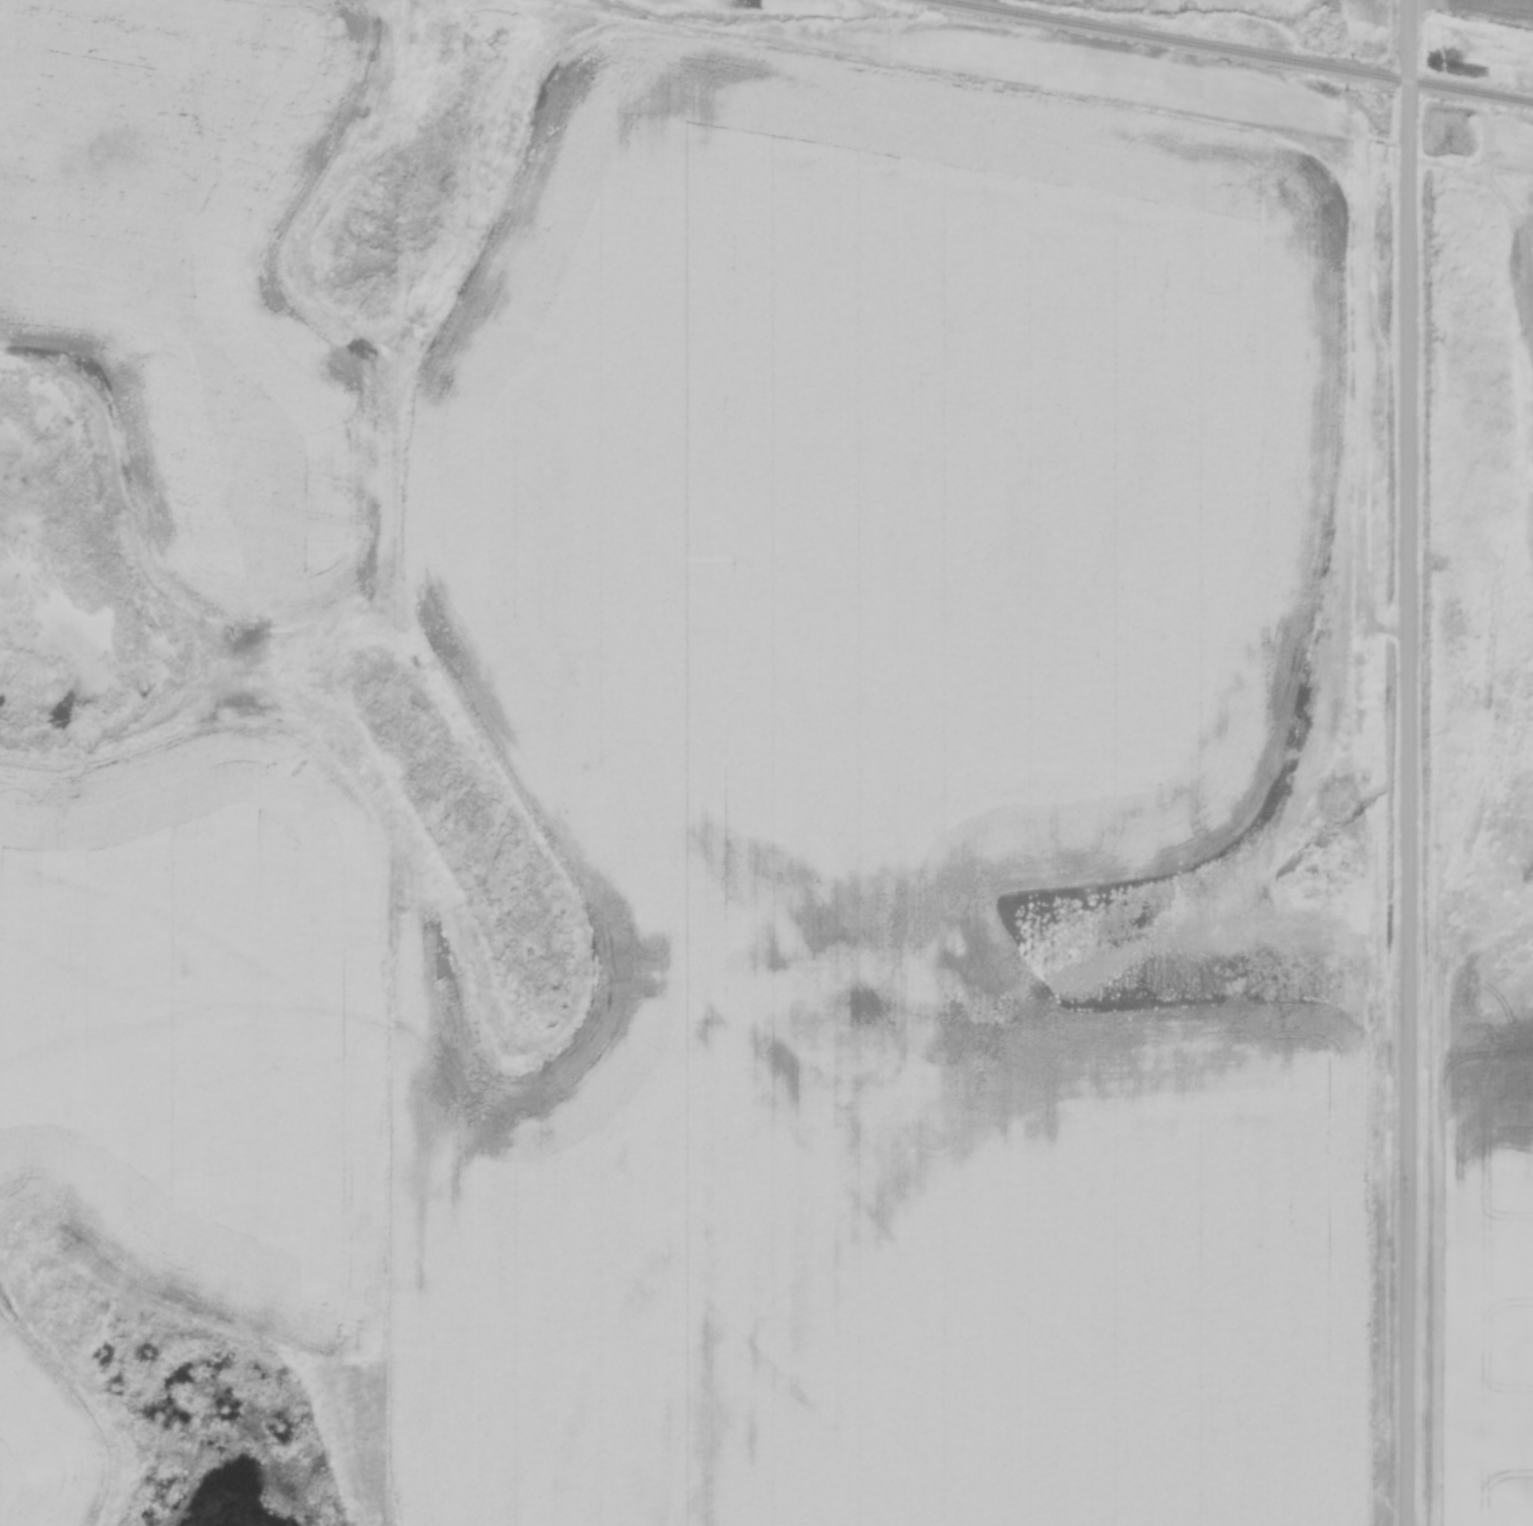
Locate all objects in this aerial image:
railway: (1236, 51)
road: (1405, 763)

